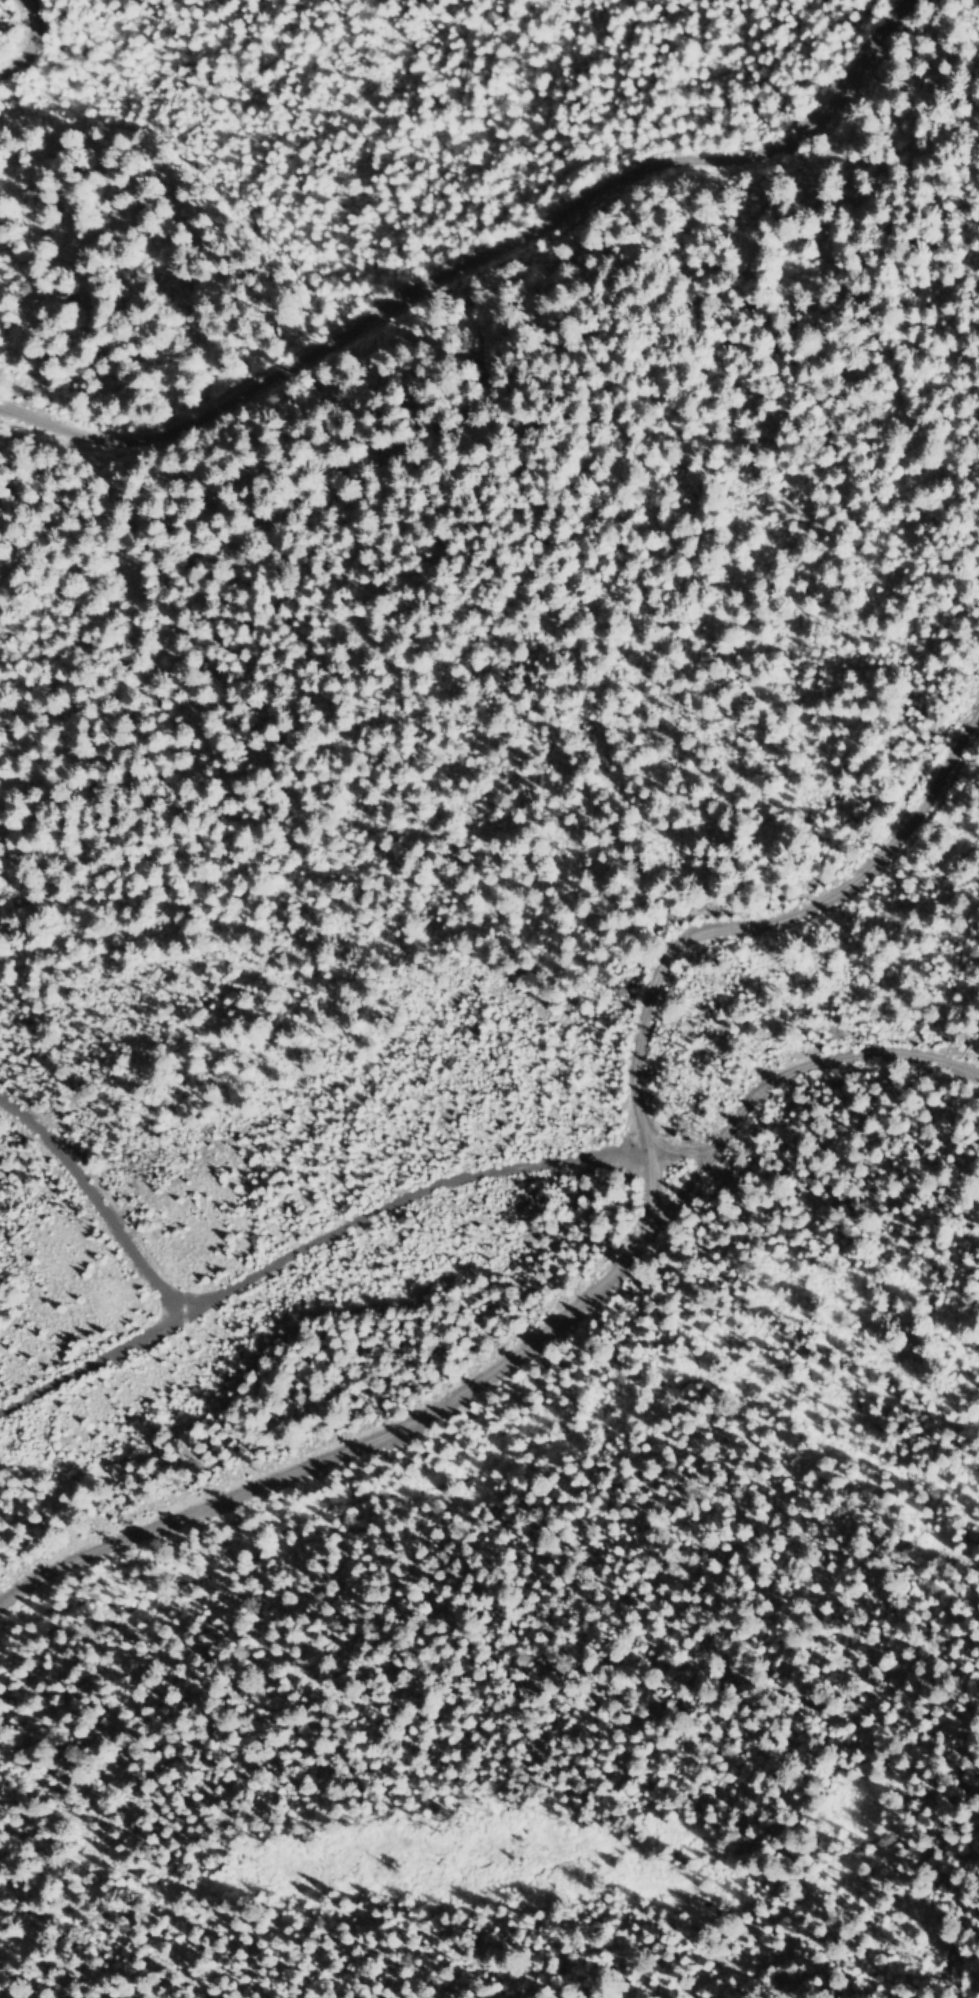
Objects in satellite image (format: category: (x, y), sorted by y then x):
road: (27, 42)
road: (478, 264)
road: (799, 1078)
road: (93, 1206)
road: (309, 1251)
road: (630, 1256)

